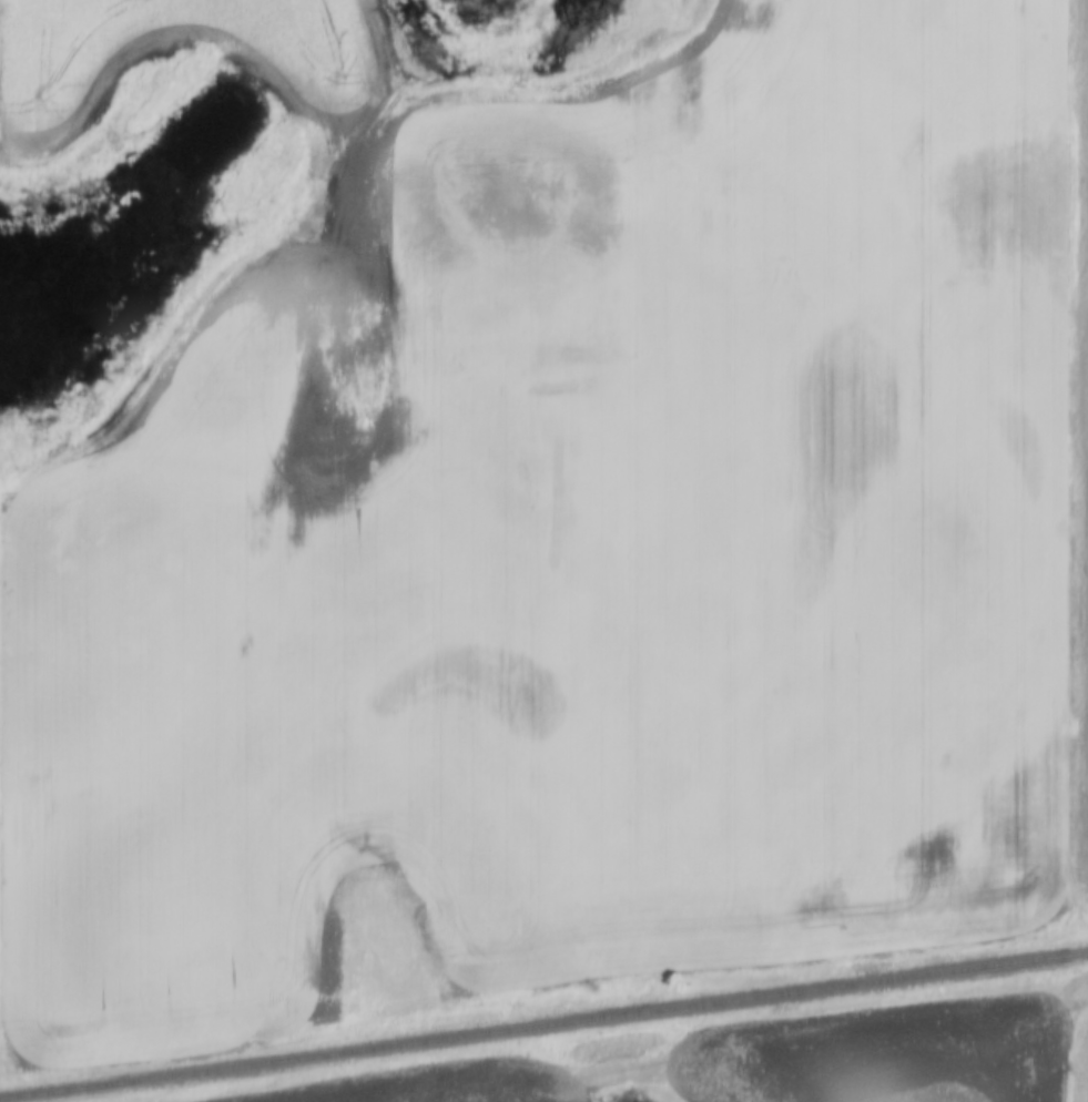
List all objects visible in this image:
railway: (543, 1027)

